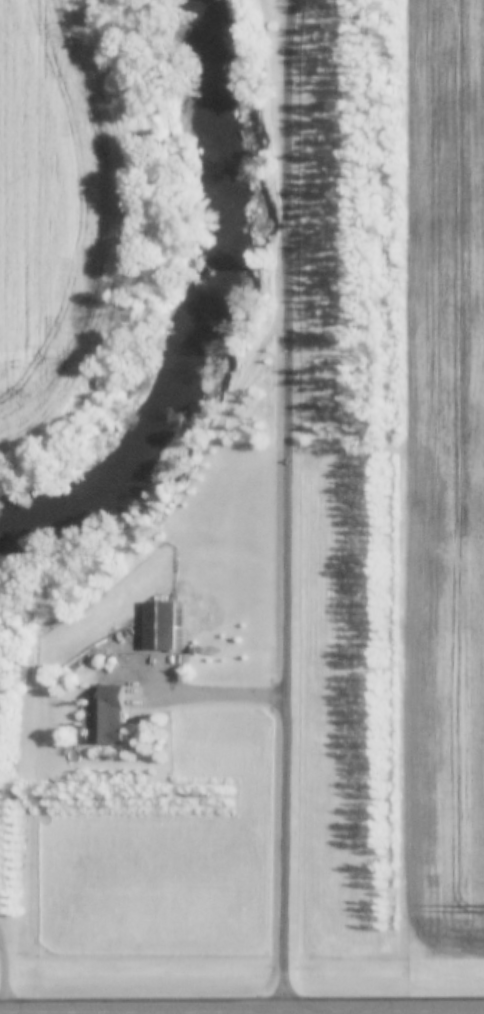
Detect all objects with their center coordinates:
river: (203, 303)
road: (292, 506)
building: (157, 625)
road: (215, 690)
building: (104, 715)
road: (4, 978)
road: (4, 1013)

